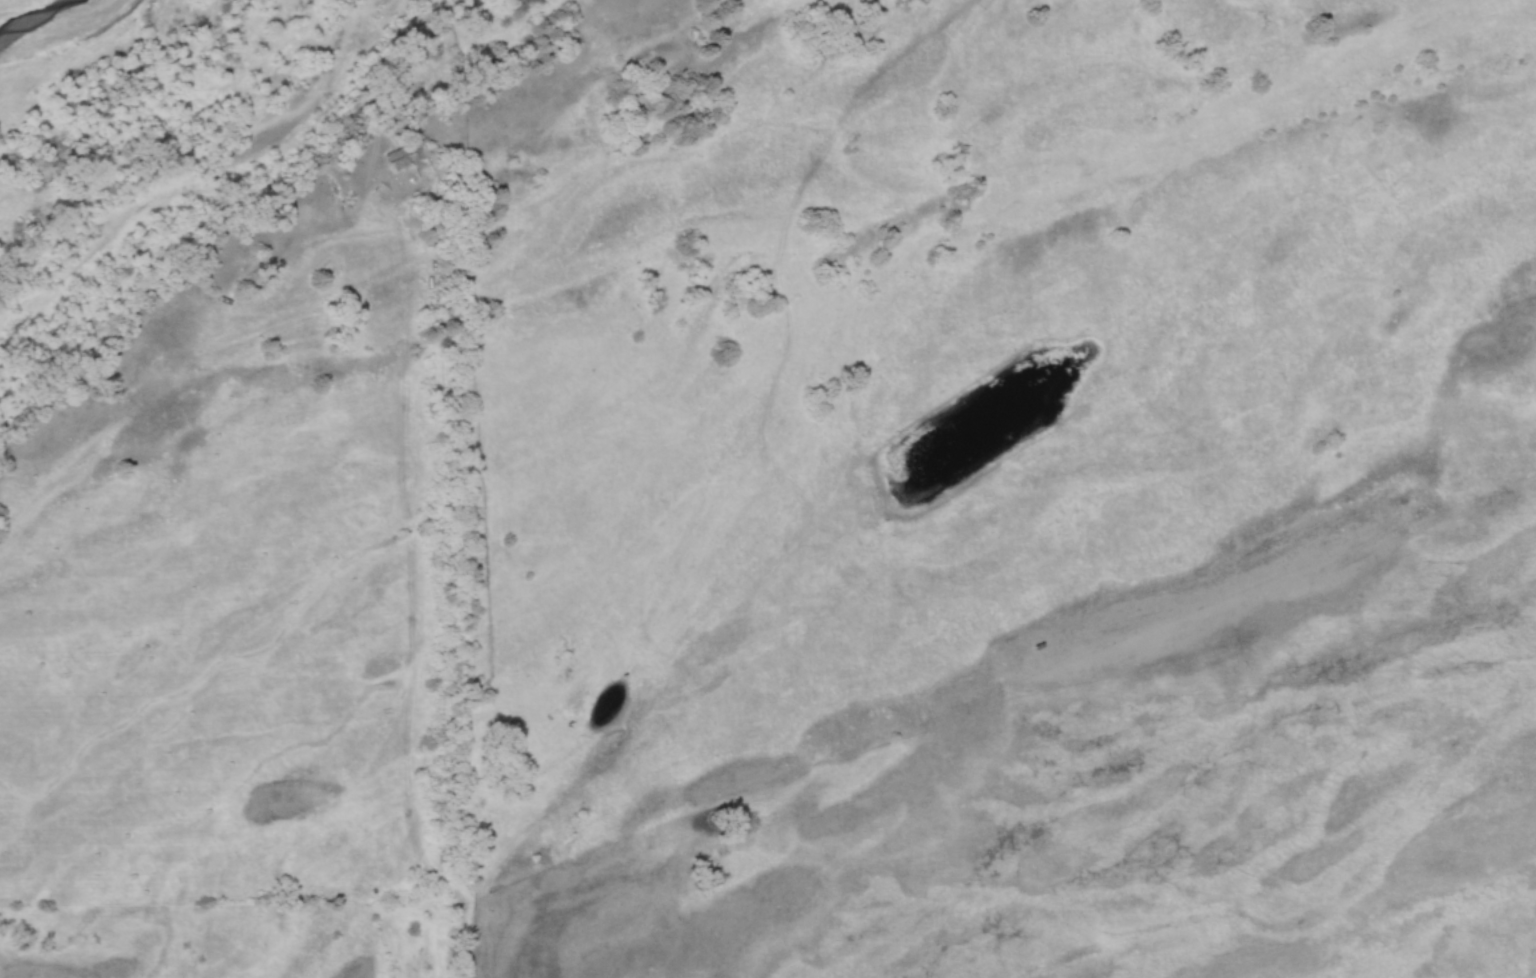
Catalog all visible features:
building: (412, 155)
road: (469, 961)

